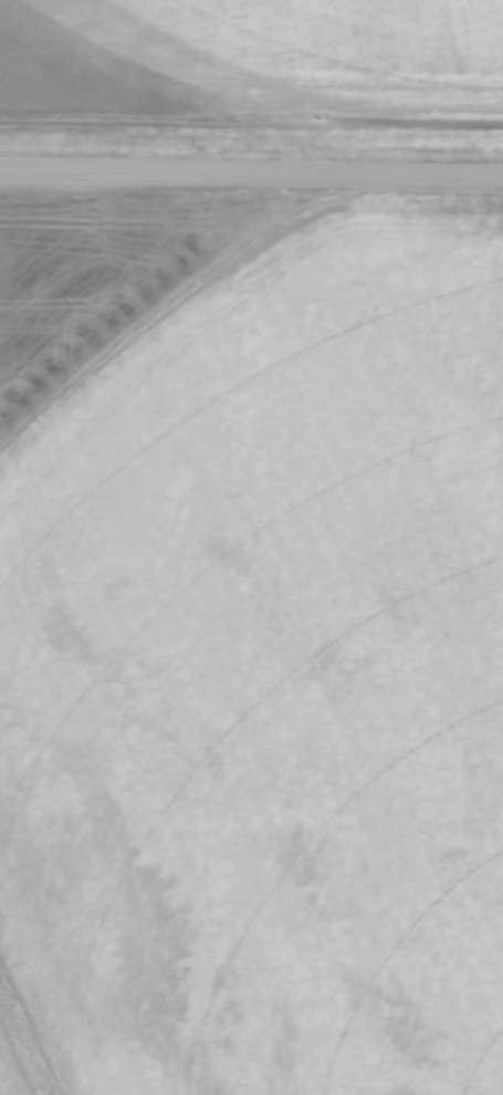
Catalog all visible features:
crop: (252, 62)
road: (251, 174)
crop: (251, 644)

